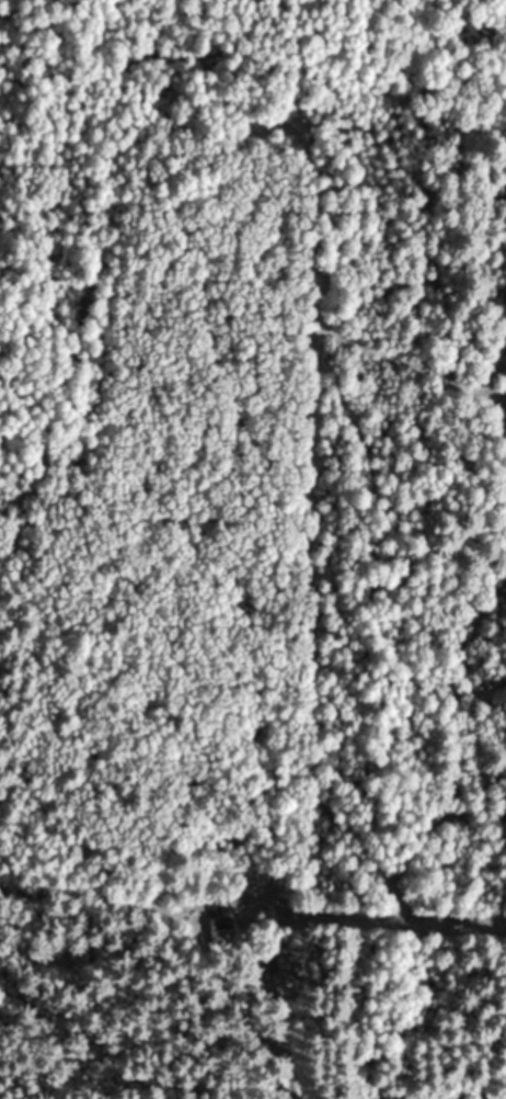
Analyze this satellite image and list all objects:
building: (216, 929)

